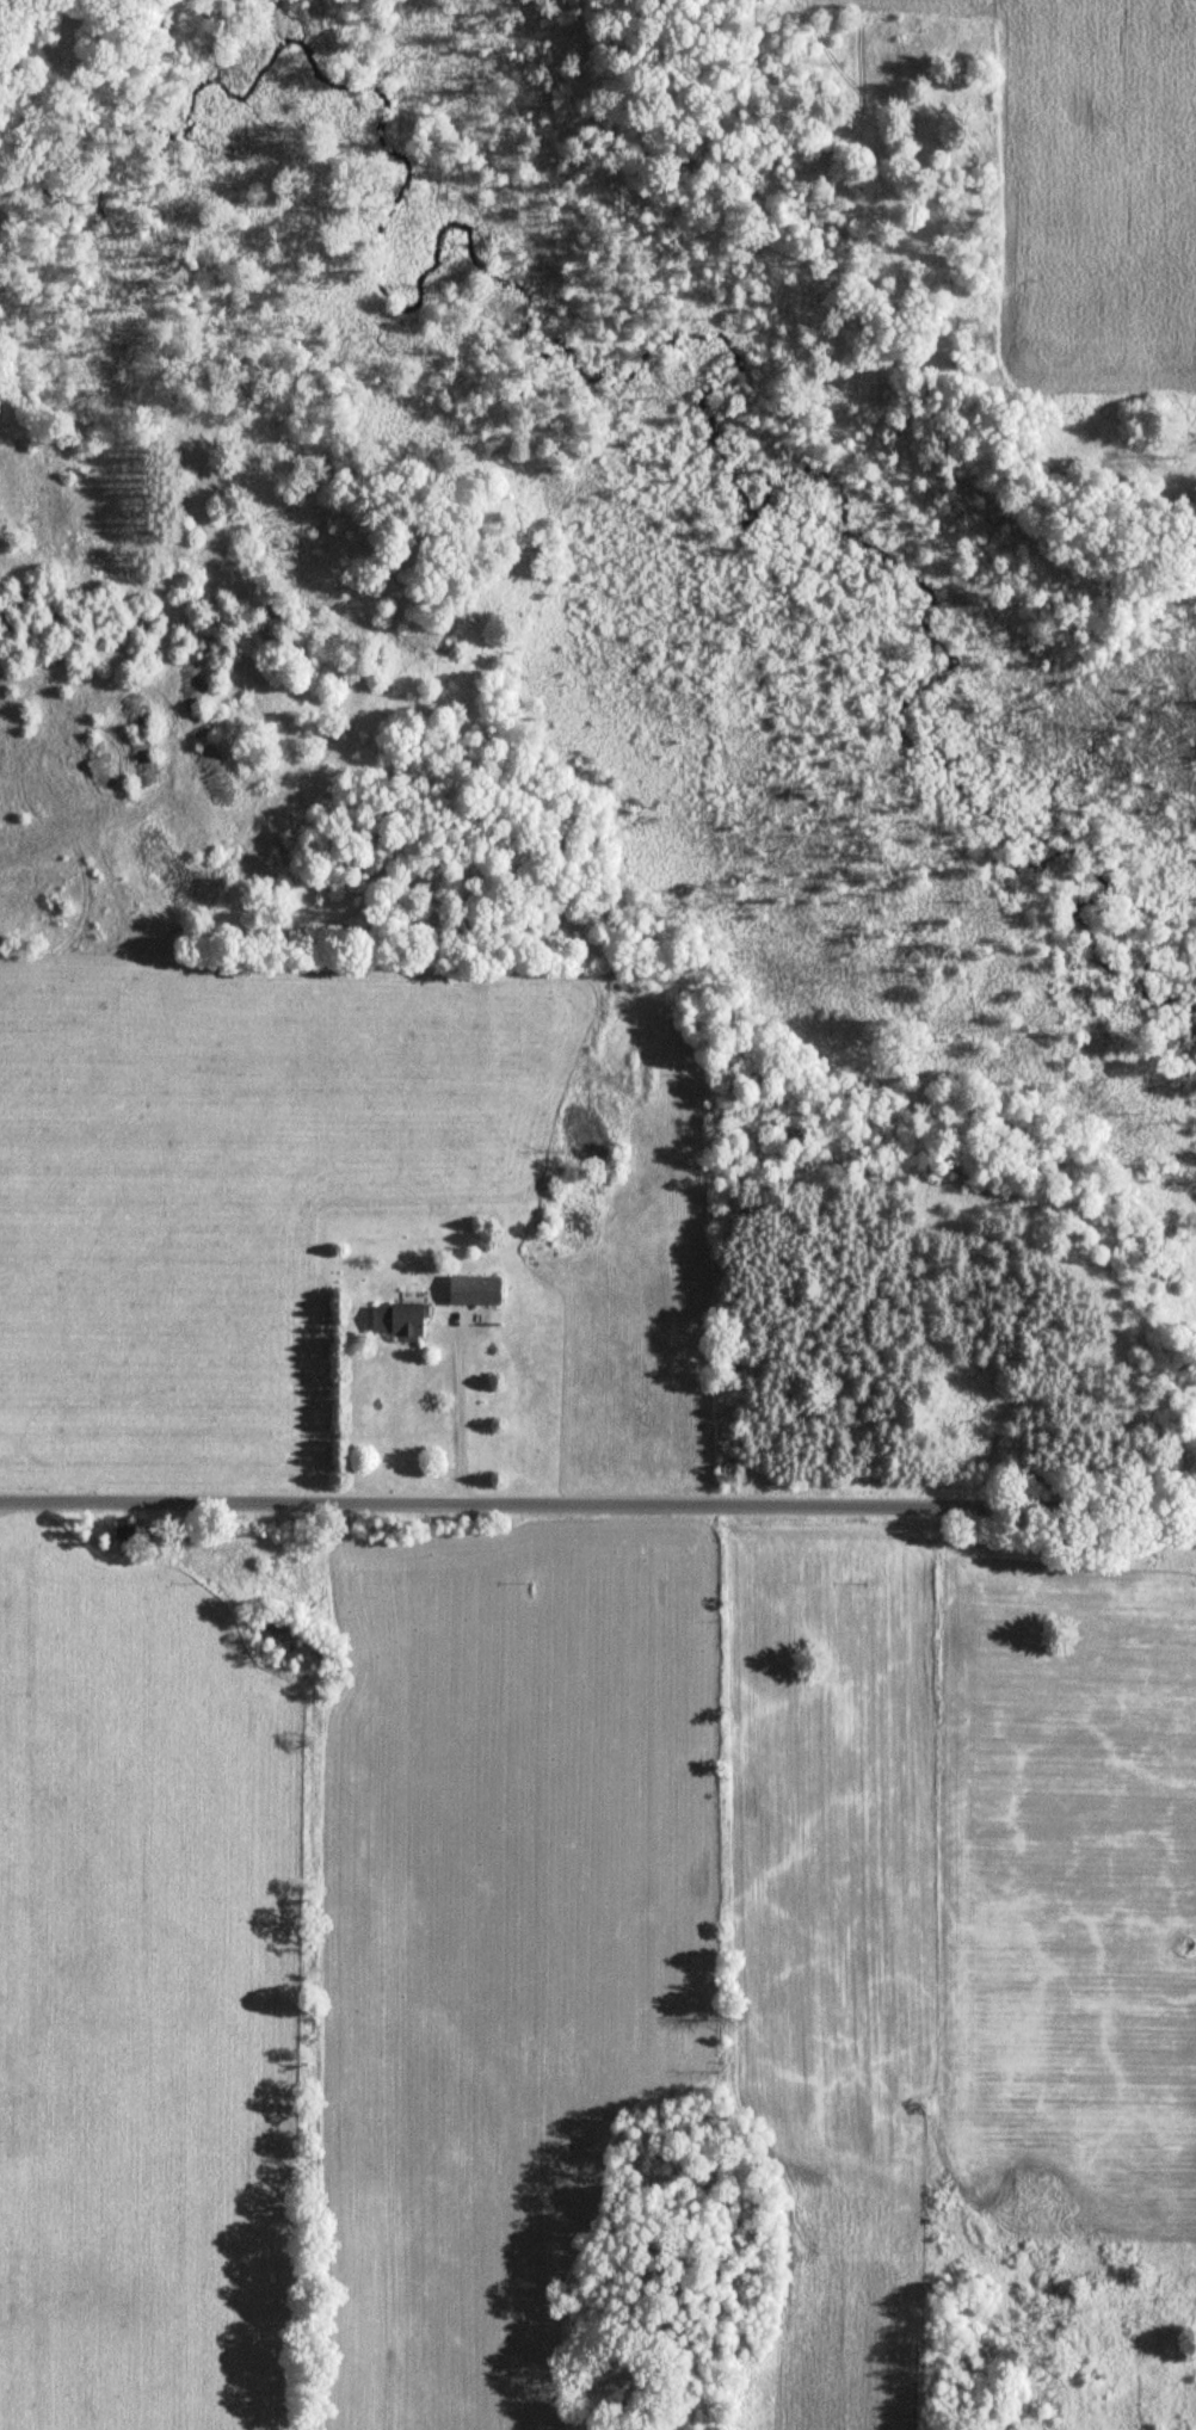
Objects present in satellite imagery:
building: (476, 1289)
building: (400, 1320)
road: (598, 1503)

